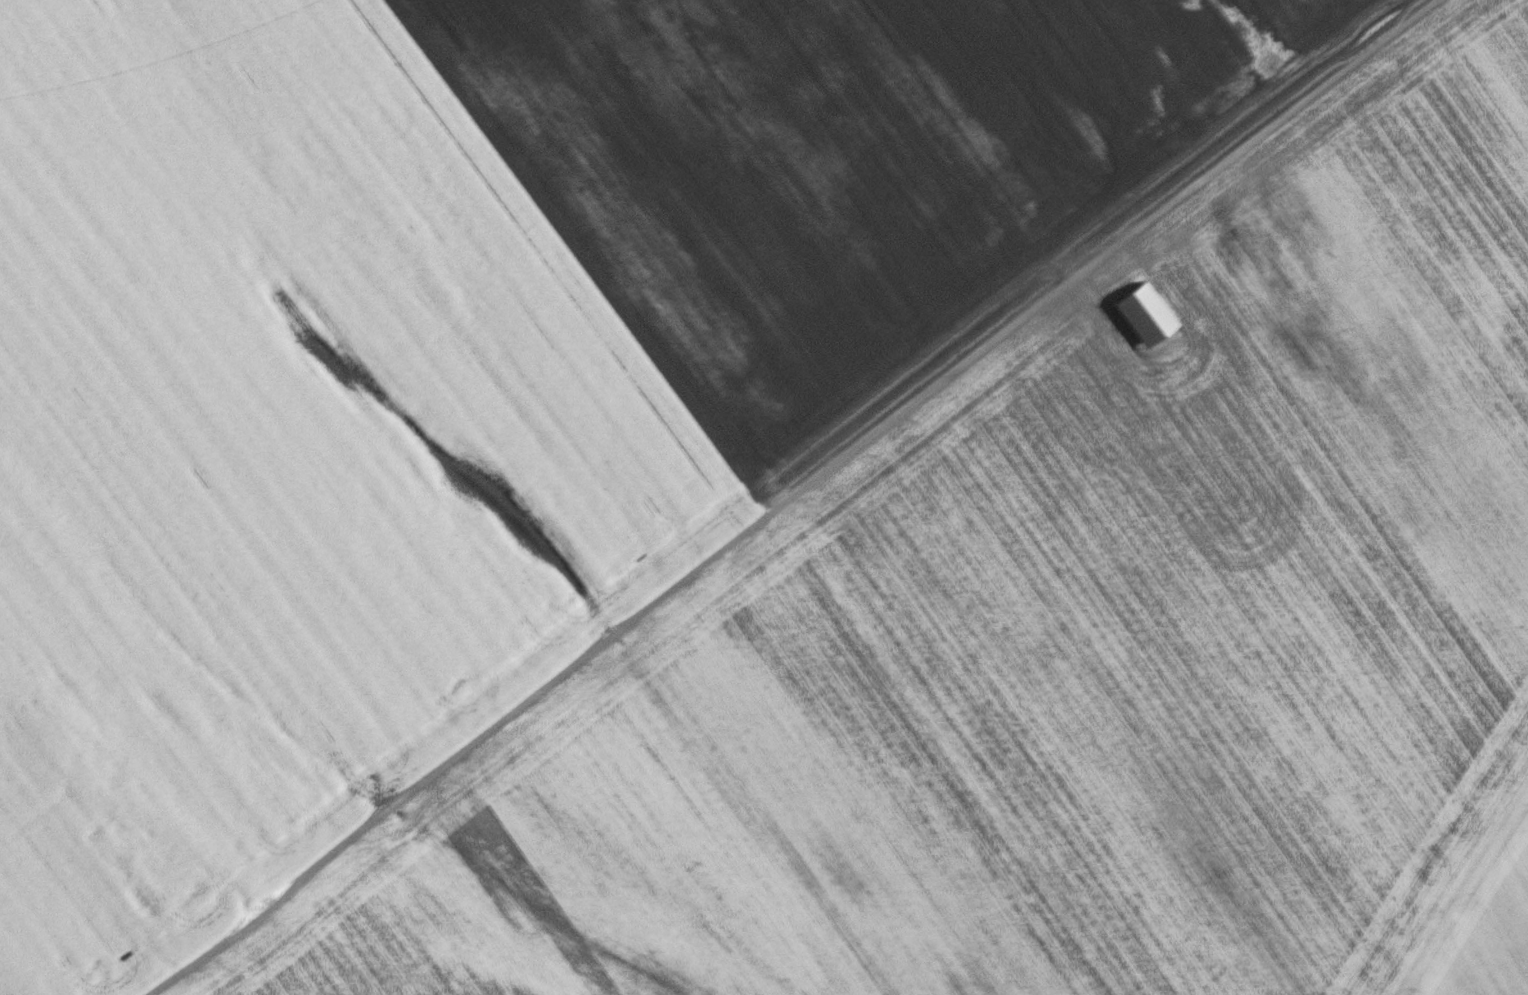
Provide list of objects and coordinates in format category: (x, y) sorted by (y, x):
building: (1144, 317)
road: (773, 497)

